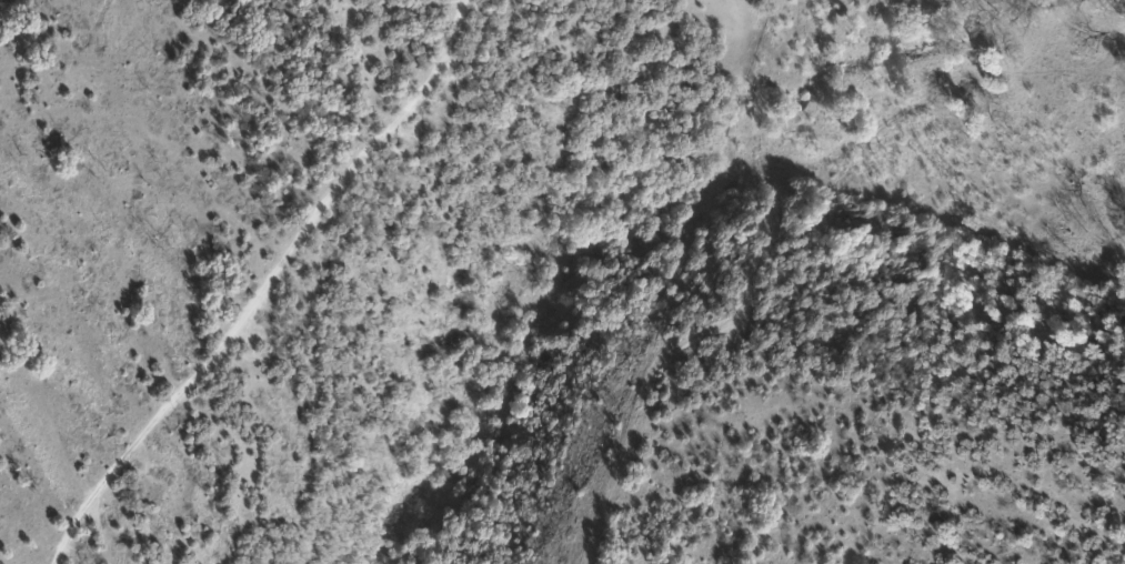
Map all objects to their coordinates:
road: (304, 315)

